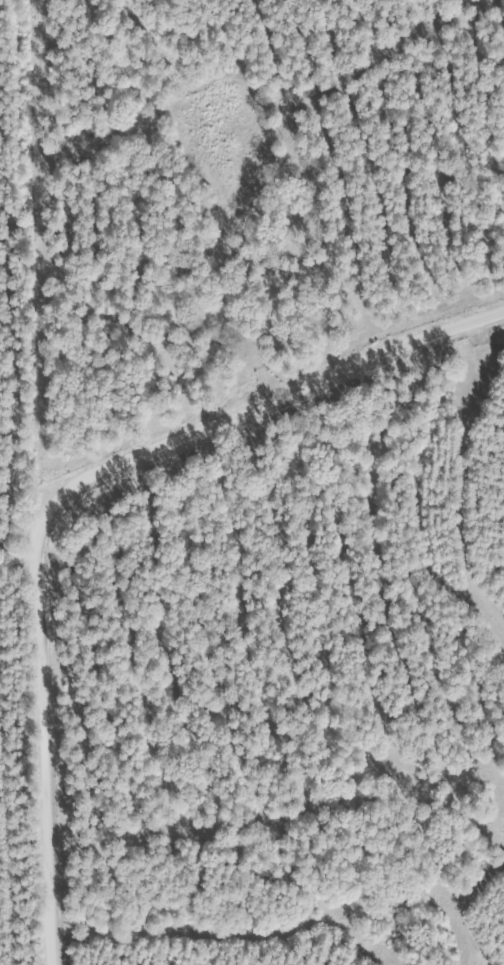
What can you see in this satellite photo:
road: (57, 489)
road: (16, 560)

